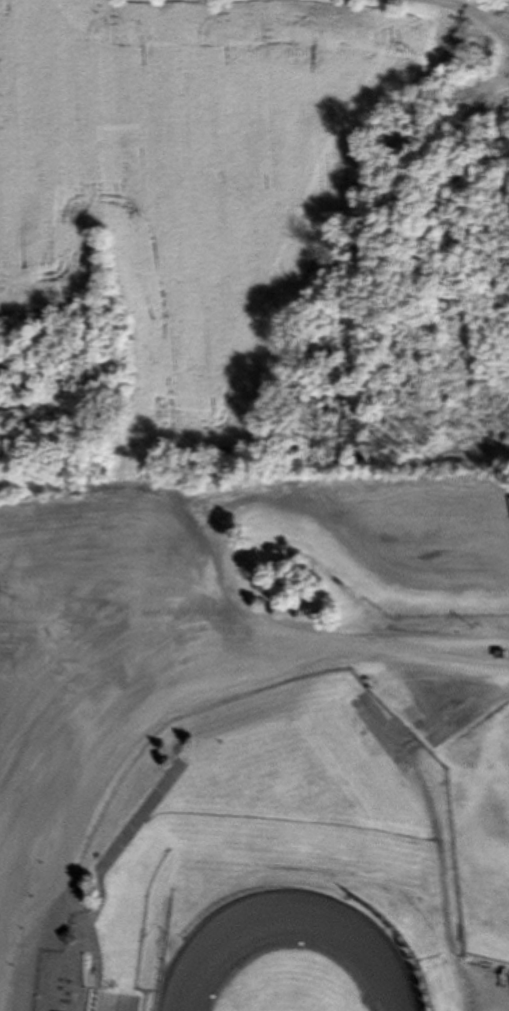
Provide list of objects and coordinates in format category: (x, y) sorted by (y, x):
road: (154, 683)
road: (435, 831)
raceway: (288, 920)

